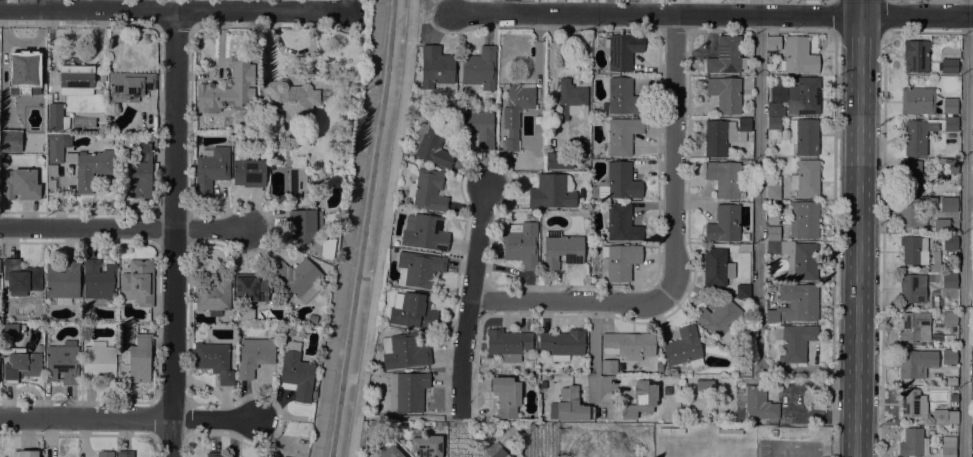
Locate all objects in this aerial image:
road: (510, 7)
road: (861, 7)
road: (88, 10)
road: (259, 11)
road: (656, 14)
road: (834, 15)
road: (917, 15)
road: (882, 16)
building: (773, 43)
building: (622, 51)
building: (917, 55)
building: (726, 56)
building: (798, 56)
building: (949, 66)
building: (435, 68)
building: (479, 68)
building: (102, 77)
building: (25, 79)
building: (76, 80)
building: (780, 82)
building: (130, 86)
building: (228, 89)
building: (726, 94)
building: (803, 97)
building: (622, 98)
building: (288, 99)
building: (571, 101)
building: (917, 101)
building: (950, 106)
building: (774, 109)
building: (23, 111)
building: (515, 111)
building: (55, 115)
building: (474, 126)
building: (773, 129)
building: (922, 134)
building: (622, 135)
building: (723, 136)
building: (804, 136)
building: (15, 141)
building: (432, 146)
building: (57, 147)
building: (581, 147)
road: (675, 156)
building: (559, 161)
building: (950, 167)
building: (92, 168)
building: (210, 169)
building: (248, 171)
building: (911, 174)
building: (138, 175)
building: (52, 176)
building: (725, 178)
building: (805, 179)
building: (42, 182)
building: (296, 182)
building: (617, 182)
building: (20, 185)
building: (772, 187)
building: (427, 190)
building: (552, 192)
building: (948, 205)
building: (910, 214)
building: (803, 220)
building: (621, 224)
building: (724, 224)
building: (941, 225)
building: (304, 226)
road: (122, 228)
road: (383, 228)
road: (965, 228)
building: (915, 231)
road: (172, 233)
building: (423, 233)
building: (772, 235)
road: (858, 235)
road: (756, 238)
building: (521, 243)
building: (950, 243)
road: (832, 244)
road: (882, 245)
road: (480, 246)
building: (561, 250)
building: (914, 250)
building: (796, 260)
building: (619, 261)
building: (934, 264)
building: (716, 267)
building: (418, 269)
building: (972, 272)
building: (21, 277)
building: (297, 278)
building: (62, 280)
building: (99, 280)
building: (949, 281)
building: (138, 283)
building: (250, 288)
building: (912, 289)
building: (743, 292)
building: (214, 294)
road: (570, 304)
building: (794, 304)
building: (412, 311)
building: (246, 316)
building: (718, 318)
building: (312, 319)
building: (949, 319)
building: (915, 327)
building: (20, 328)
building: (791, 341)
building: (508, 344)
building: (563, 344)
building: (682, 347)
building: (625, 349)
road: (594, 350)
building: (403, 352)
building: (253, 356)
building: (948, 357)
road: (464, 358)
building: (136, 360)
building: (214, 361)
building: (62, 363)
building: (98, 363)
building: (916, 364)
building: (20, 365)
building: (659, 367)
building: (296, 372)
building: (704, 386)
building: (406, 392)
building: (313, 395)
building: (506, 396)
building: (640, 400)
building: (909, 402)
building: (759, 404)
building: (569, 406)
building: (943, 417)
road: (128, 420)
building: (412, 424)
building: (913, 443)
building: (426, 446)
building: (948, 446)
road: (811, 447)
building: (390, 452)
building: (495, 452)
road: (810, 452)
building: (25, 454)
building: (105, 454)
building: (125, 454)
building: (214, 455)

